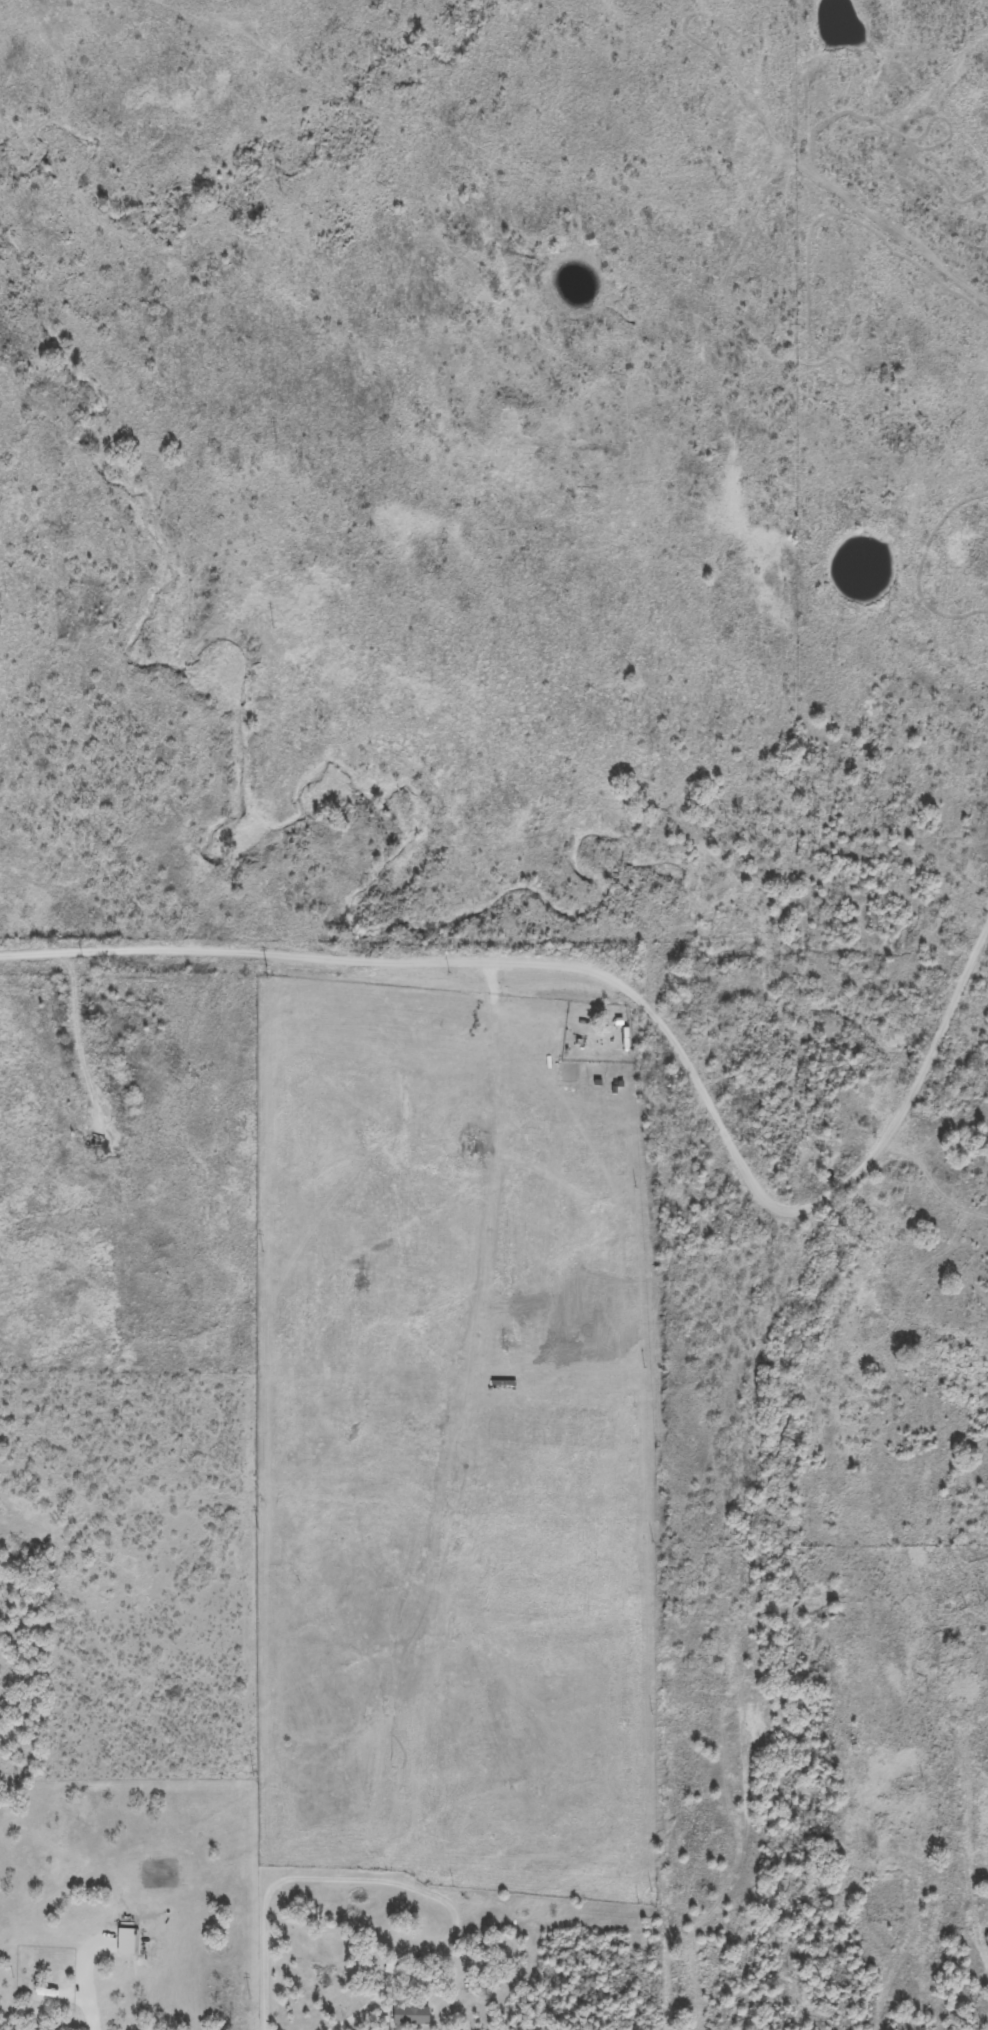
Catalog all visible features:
building: (984, 1715)
building: (916, 1788)
building: (410, 2014)

